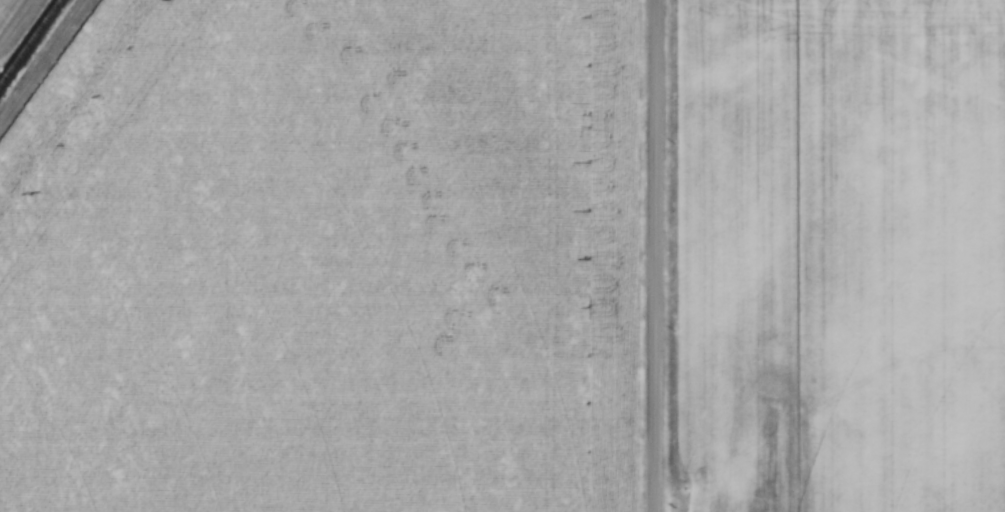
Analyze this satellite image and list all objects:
railway: (28, 39)
road: (655, 255)

